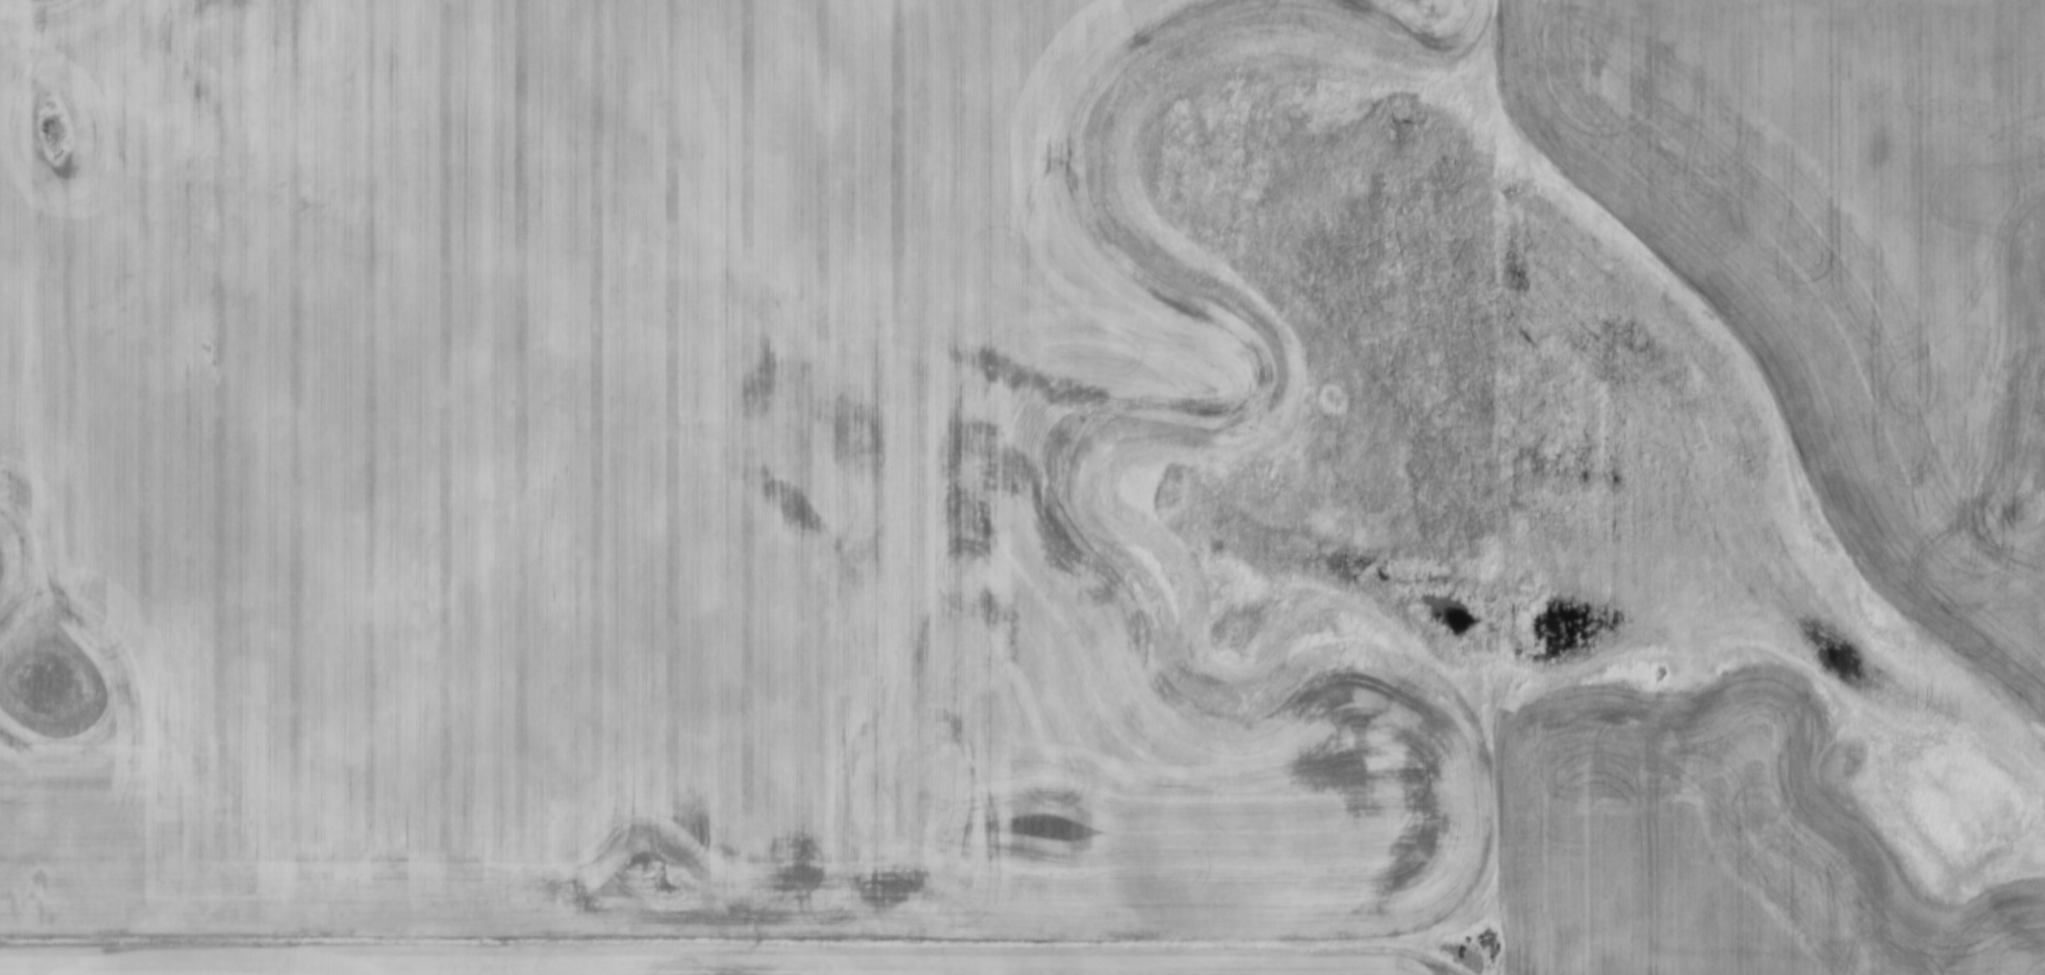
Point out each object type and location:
road: (1511, 487)

